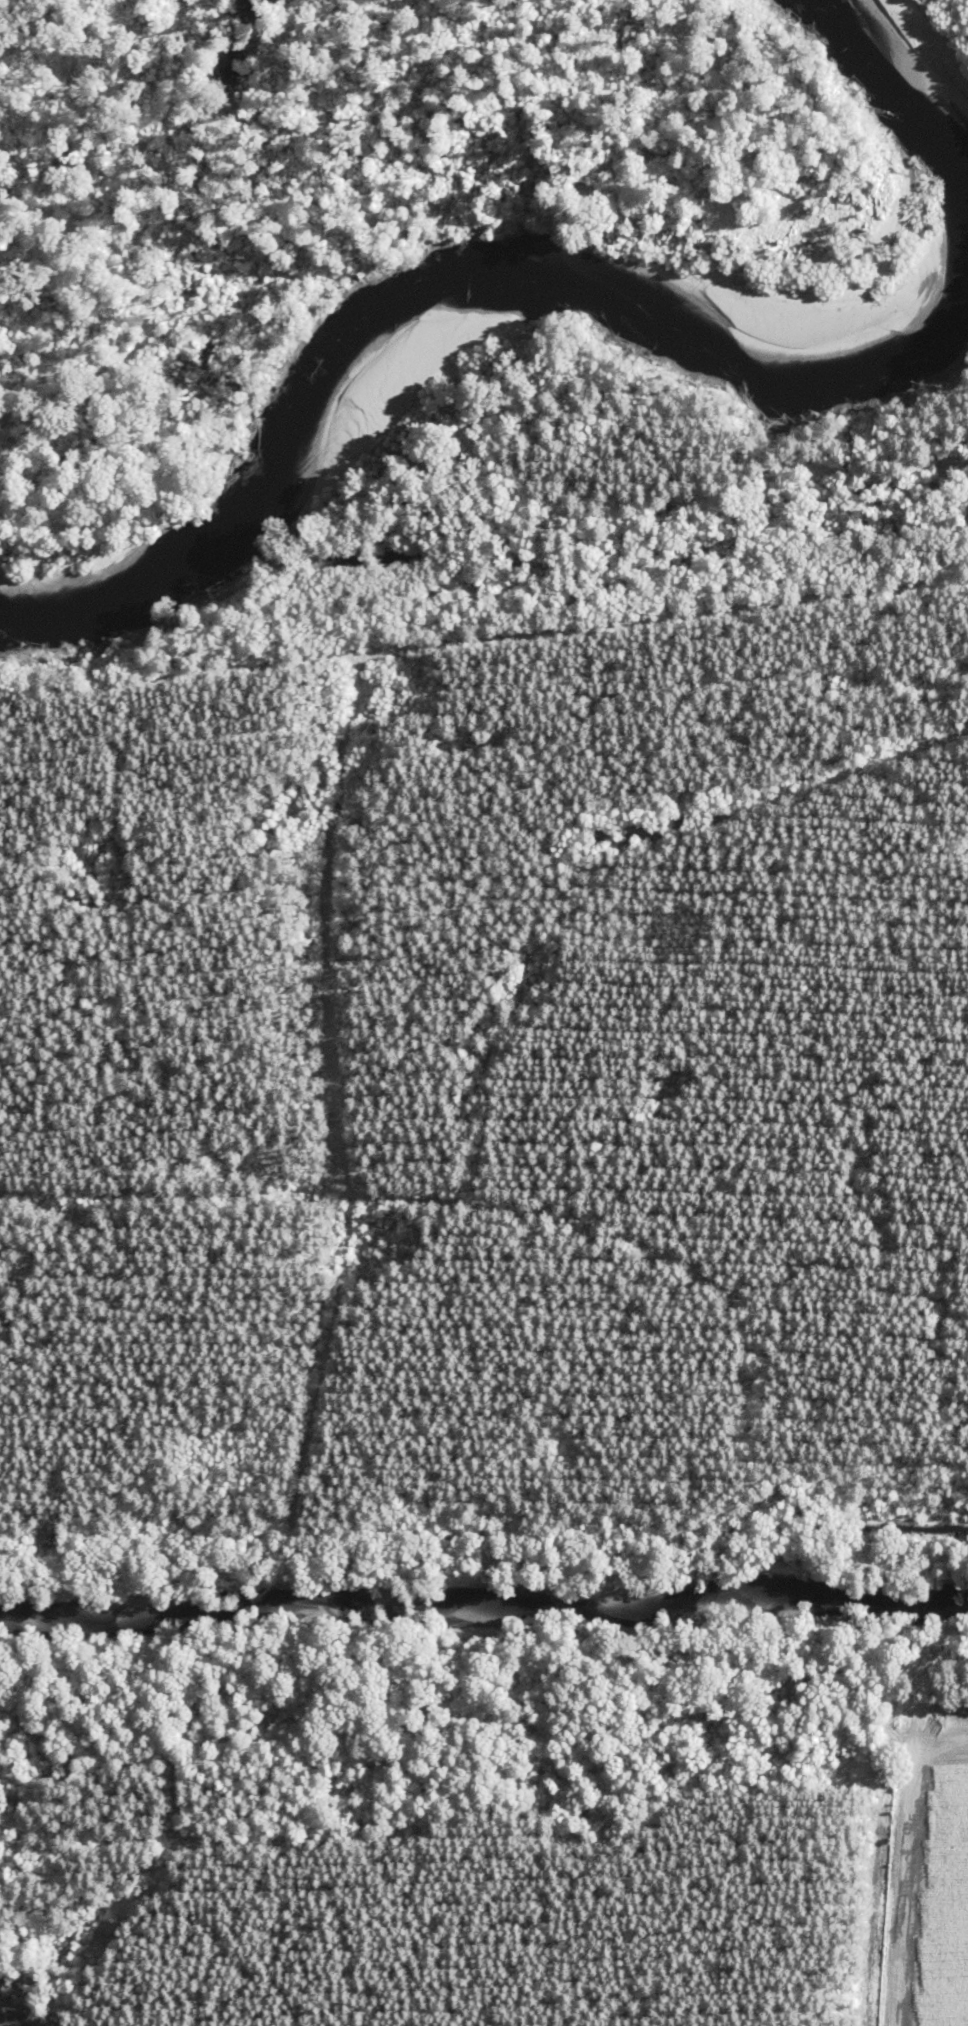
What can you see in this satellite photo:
river: (956, 25)
river: (448, 315)

